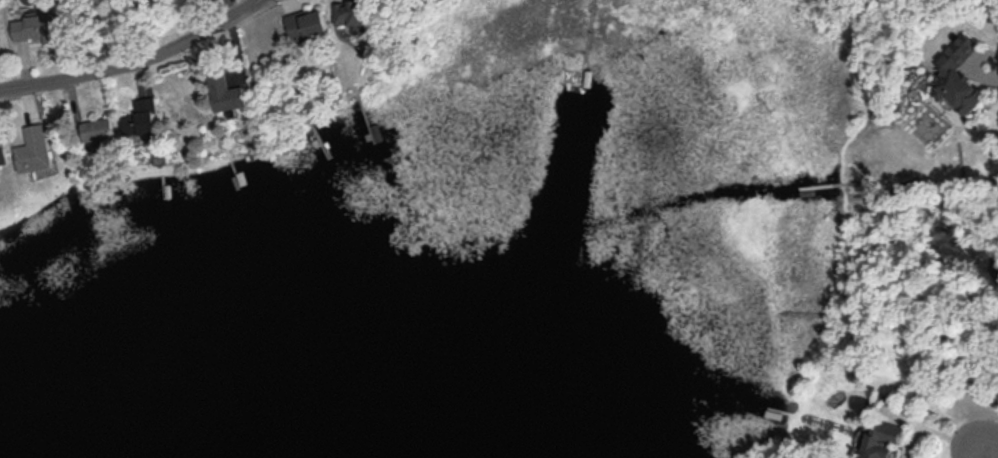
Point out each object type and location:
building: (351, 12)
building: (308, 24)
building: (37, 26)
road: (139, 67)
building: (960, 75)
building: (226, 91)
building: (142, 117)
building: (99, 128)
building: (34, 148)
building: (3, 153)
building: (886, 439)
road: (991, 446)
road: (983, 454)

